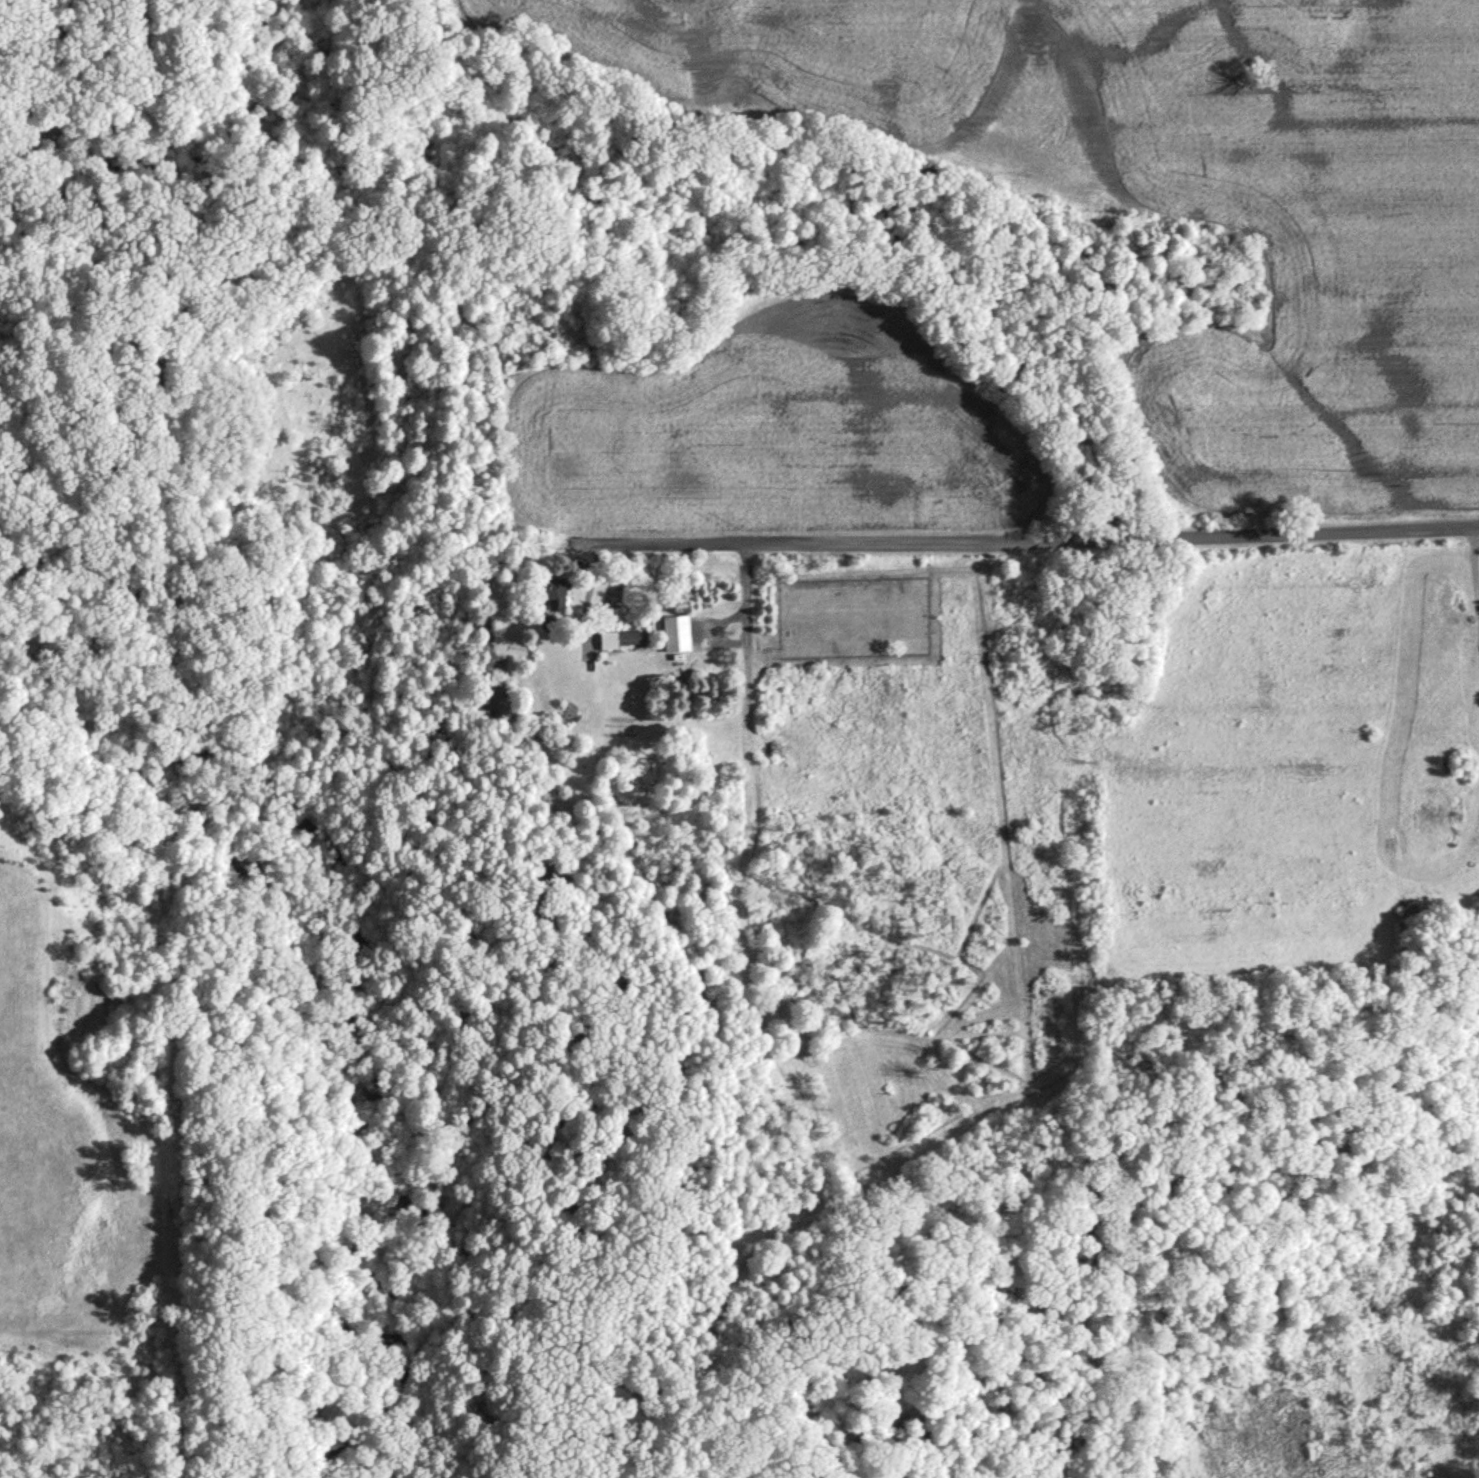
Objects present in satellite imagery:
road: (729, 542)
building: (553, 592)
road: (747, 597)
building: (622, 639)

